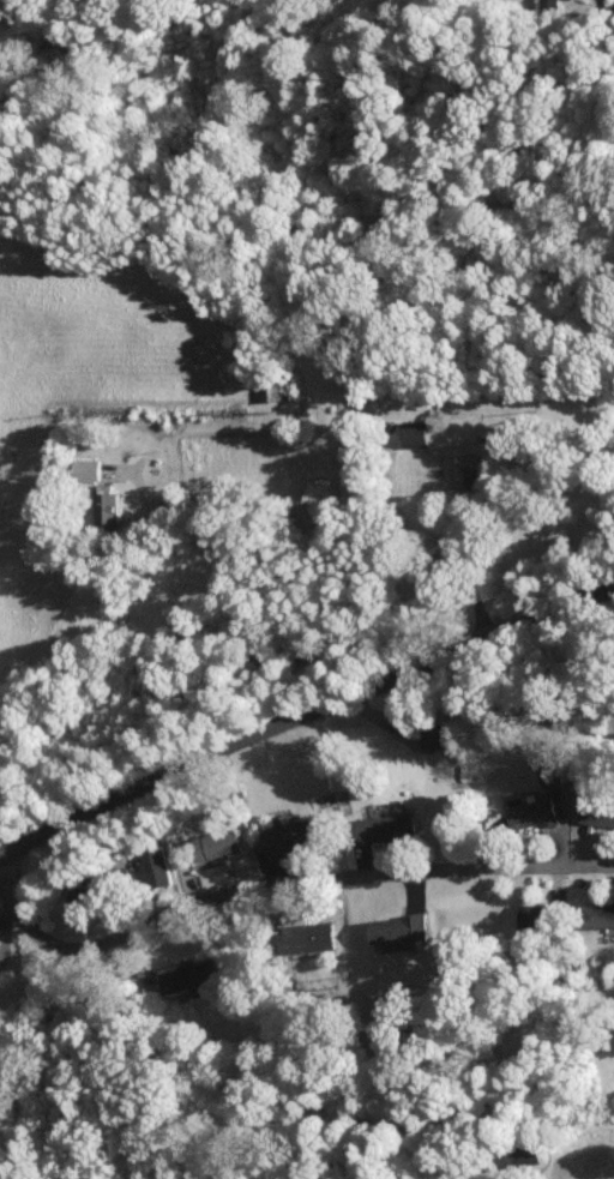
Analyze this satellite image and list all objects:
building: (552, 4)
building: (271, 389)
building: (422, 432)
building: (477, 452)
building: (89, 467)
road: (397, 503)
building: (108, 504)
road: (306, 524)
road: (302, 708)
building: (435, 734)
building: (550, 766)
building: (598, 810)
building: (534, 812)
building: (392, 825)
building: (289, 832)
building: (218, 842)
building: (156, 867)
road: (283, 873)
building: (598, 913)
building: (536, 914)
building: (401, 926)
building: (315, 934)
building: (191, 976)
building: (596, 1167)

